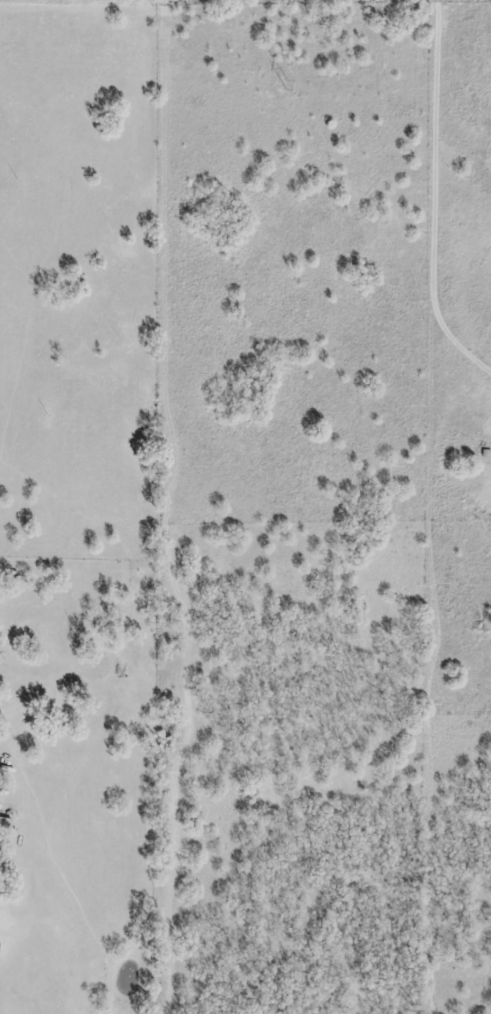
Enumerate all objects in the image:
power tower: (285, 87)
road: (438, 149)
road: (458, 337)
road: (431, 388)
road: (34, 668)
building: (4, 825)

